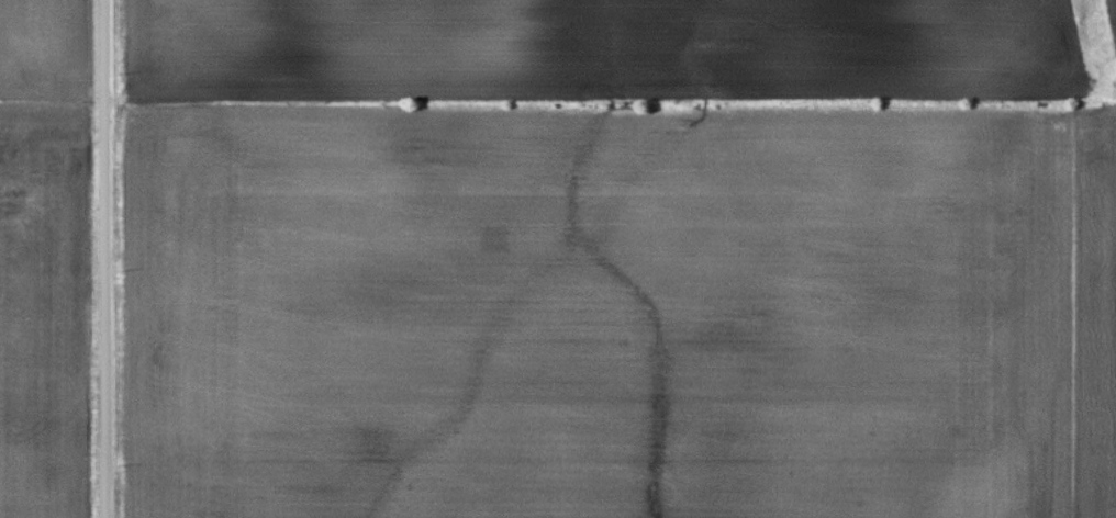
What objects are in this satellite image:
road: (93, 259)

